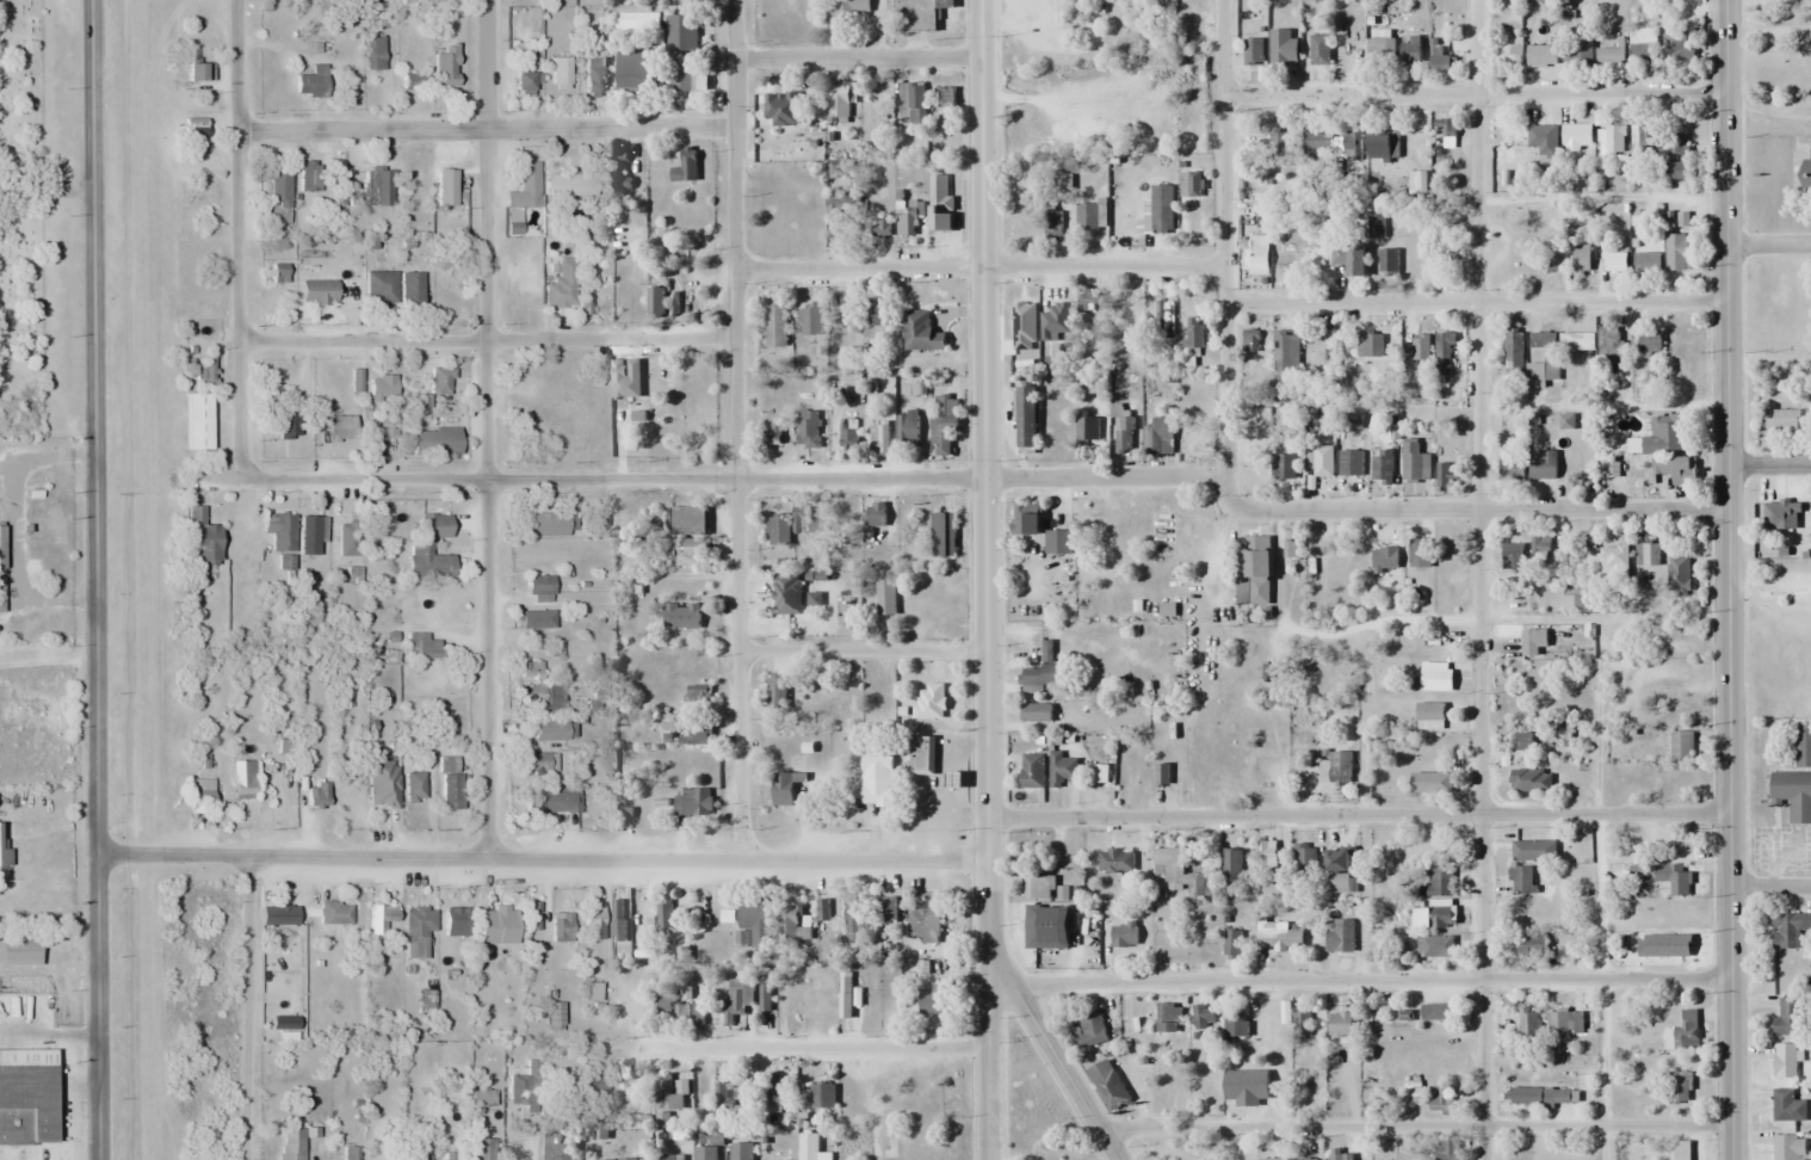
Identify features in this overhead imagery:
building: (848, 10)
building: (920, 14)
building: (1512, 14)
building: (1642, 45)
building: (1807, 47)
building: (1577, 48)
building: (1679, 48)
building: (1318, 50)
building: (1380, 50)
building: (1410, 50)
building: (373, 53)
building: (1253, 53)
building: (681, 54)
building: (1609, 55)
building: (1526, 56)
road: (858, 60)
building: (1440, 63)
building: (445, 69)
building: (631, 69)
building: (199, 73)
building: (594, 79)
building: (412, 80)
building: (524, 80)
building: (310, 81)
road: (1472, 93)
building: (837, 104)
building: (916, 105)
building: (787, 123)
building: (1446, 127)
road: (486, 129)
building: (1578, 136)
building: (1648, 138)
building: (1609, 140)
building: (1278, 141)
building: (1331, 144)
building: (1383, 146)
building: (1543, 146)
building: (1677, 156)
building: (685, 166)
building: (414, 171)
building: (616, 174)
building: (309, 177)
building: (1805, 179)
building: (527, 184)
building: (1189, 184)
building: (569, 185)
building: (381, 186)
building: (445, 186)
road: (47, 187)
building: (279, 196)
building: (940, 203)
building: (840, 208)
building: (1162, 215)
building: (1087, 217)
park: (19, 220)
building: (1376, 224)
building: (1052, 226)
building: (904, 227)
building: (1281, 227)
road: (237, 236)
road: (1223, 239)
road: (1768, 247)
building: (1676, 252)
building: (1257, 254)
building: (1582, 258)
building: (1349, 259)
building: (1287, 260)
building: (1445, 260)
building: (1387, 261)
building: (1543, 261)
building: (1615, 261)
building: (1646, 261)
road: (979, 267)
building: (561, 285)
building: (381, 288)
building: (410, 288)
building: (655, 303)
building: (1088, 303)
road: (1475, 303)
building: (876, 319)
building: (1163, 319)
building: (809, 320)
building: (777, 326)
building: (920, 333)
building: (1193, 333)
road: (487, 339)
building: (1249, 340)
building: (1368, 345)
building: (1649, 345)
building: (1609, 346)
building: (1420, 347)
building: (1286, 351)
building: (1513, 352)
building: (1442, 354)
building: (1551, 356)
building: (204, 371)
building: (696, 374)
building: (440, 381)
building: (618, 382)
building: (382, 388)
building: (1440, 394)
building: (1026, 419)
building: (638, 420)
building: (1781, 420)
building: (197, 421)
building: (942, 424)
building: (288, 426)
building: (339, 427)
road: (486, 428)
road: (737, 430)
building: (808, 430)
building: (907, 430)
building: (848, 432)
building: (1086, 433)
building: (1124, 434)
building: (1158, 436)
building: (1663, 437)
building: (878, 439)
building: (434, 442)
building: (1321, 462)
building: (1350, 463)
building: (1415, 463)
building: (1543, 465)
road: (1768, 465)
building: (1282, 467)
building: (1382, 467)
building: (1512, 469)
building: (1676, 470)
building: (1445, 476)
road: (995, 479)
building: (876, 514)
building: (1791, 514)
building: (801, 519)
building: (1026, 519)
building: (545, 523)
building: (434, 525)
building: (778, 529)
building: (691, 530)
building: (310, 533)
building: (942, 535)
building: (203, 536)
building: (280, 537)
building: (1057, 542)
building: (1591, 542)
building: (1540, 545)
building: (1291, 547)
building: (0, 548)
building: (1420, 550)
building: (1646, 553)
building: (1513, 555)
building: (1614, 557)
building: (1385, 559)
building: (427, 562)
road: (1213, 567)
building: (1255, 568)
building: (1679, 575)
road: (1478, 579)
road: (95, 580)
railway: (155, 580)
road: (984, 580)
road: (1726, 580)
building: (539, 584)
building: (1, 594)
building: (787, 594)
building: (885, 598)
building: (1576, 600)
building: (681, 616)
building: (530, 618)
road: (1348, 628)
road: (1061, 634)
building: (1531, 641)
building: (422, 646)
road: (861, 652)
building: (1042, 668)
building: (1435, 677)
building: (698, 695)
building: (777, 695)
building: (539, 696)
building: (931, 702)
building: (1036, 712)
building: (1429, 716)
building: (549, 729)
building: (696, 735)
building: (1522, 741)
building: (1801, 743)
building: (1682, 745)
building: (921, 755)
building: (539, 763)
building: (1340, 767)
building: (1062, 770)
building: (1032, 771)
building: (877, 779)
building: (1531, 780)
building: (383, 783)
building: (1430, 783)
building: (414, 786)
building: (783, 789)
building: (451, 790)
building: (317, 794)
building: (1793, 794)
building: (552, 798)
building: (693, 801)
road: (1356, 814)
road: (542, 858)
building: (2, 860)
building: (1115, 860)
building: (1304, 860)
building: (1231, 868)
building: (1176, 870)
building: (1269, 870)
building: (1337, 871)
building: (1673, 877)
building: (1521, 880)
building: (1037, 886)
building: (1438, 886)
road: (1769, 886)
building: (888, 909)
building: (335, 912)
building: (663, 913)
building: (278, 914)
building: (711, 914)
building: (1441, 914)
building: (532, 917)
building: (383, 920)
building: (619, 920)
building: (455, 921)
building: (853, 921)
building: (1042, 921)
building: (594, 924)
building: (754, 924)
building: (923, 924)
building: (496, 925)
building: (792, 925)
building: (563, 926)
building: (418, 930)
building: (1791, 931)
building: (1124, 934)
building: (1339, 936)
building: (1278, 937)
building: (1231, 944)
building: (1435, 945)
building: (1532, 946)
building: (18, 948)
building: (682, 955)
road: (1368, 980)
building: (591, 991)
building: (765, 992)
building: (845, 995)
building: (935, 998)
building: (785, 1000)
building: (736, 1002)
building: (662, 1006)
road: (248, 1007)
building: (1435, 1012)
building: (554, 1013)
building: (688, 1014)
building: (884, 1016)
building: (1168, 1018)
building: (1790, 1018)
building: (1204, 1019)
building: (1558, 1023)
building: (1236, 1024)
building: (1300, 1024)
building: (1528, 1028)
building: (1092, 1029)
building: (1682, 1032)
road: (815, 1048)
road: (1050, 1055)
building: (1786, 1061)
building: (523, 1090)
building: (1112, 1091)
building: (1238, 1091)
building: (1677, 1091)
building: (25, 1096)
building: (775, 1096)
building: (822, 1096)
building: (1532, 1096)
building: (481, 1097)
building: (729, 1098)
building: (667, 1099)
building: (1787, 1106)
road: (1411, 1127)
building: (558, 1146)
building: (809, 1147)
building: (1788, 1147)
building: (290, 1148)
building: (482, 1148)
building: (1681, 1150)
building: (741, 1152)
building: (350, 1153)
building: (705, 1153)
building: (414, 1155)
building: (453, 1156)
building: (1181, 1156)
building: (668, 1158)
building: (1340, 1158)
building: (1272, 1159)
building: (1305, 1159)

